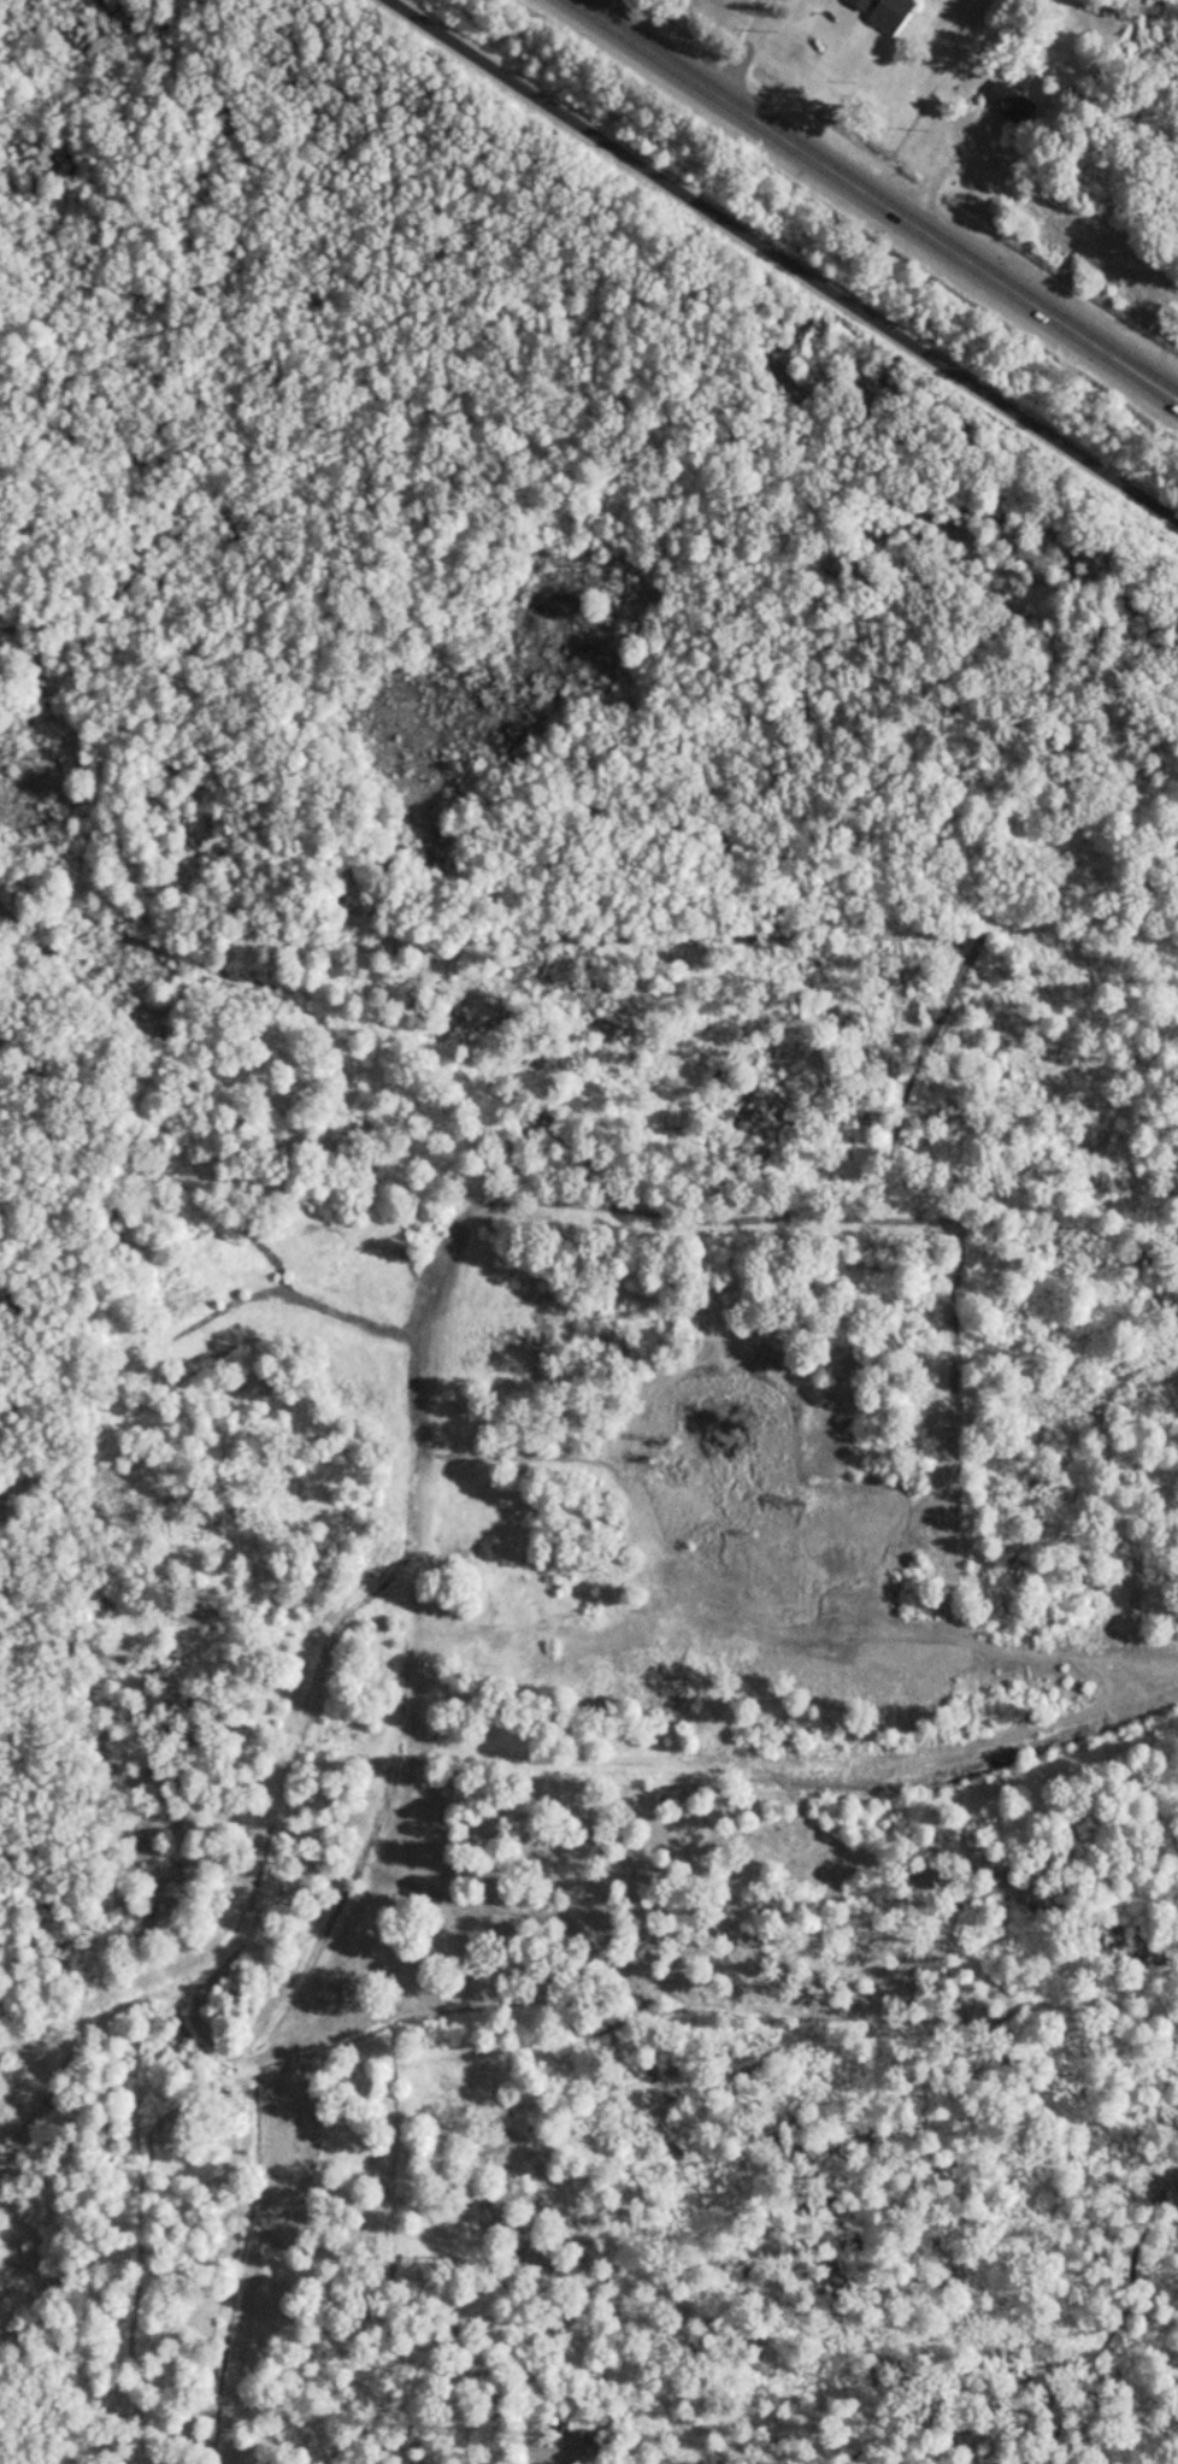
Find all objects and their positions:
building: (889, 12)
road: (744, 49)
road: (817, 75)
building: (1019, 108)
road: (941, 160)
road: (876, 199)
road: (783, 259)
road: (430, 1415)
road: (958, 1643)
road: (803, 1766)
building: (582, 2433)
road: (563, 2463)

